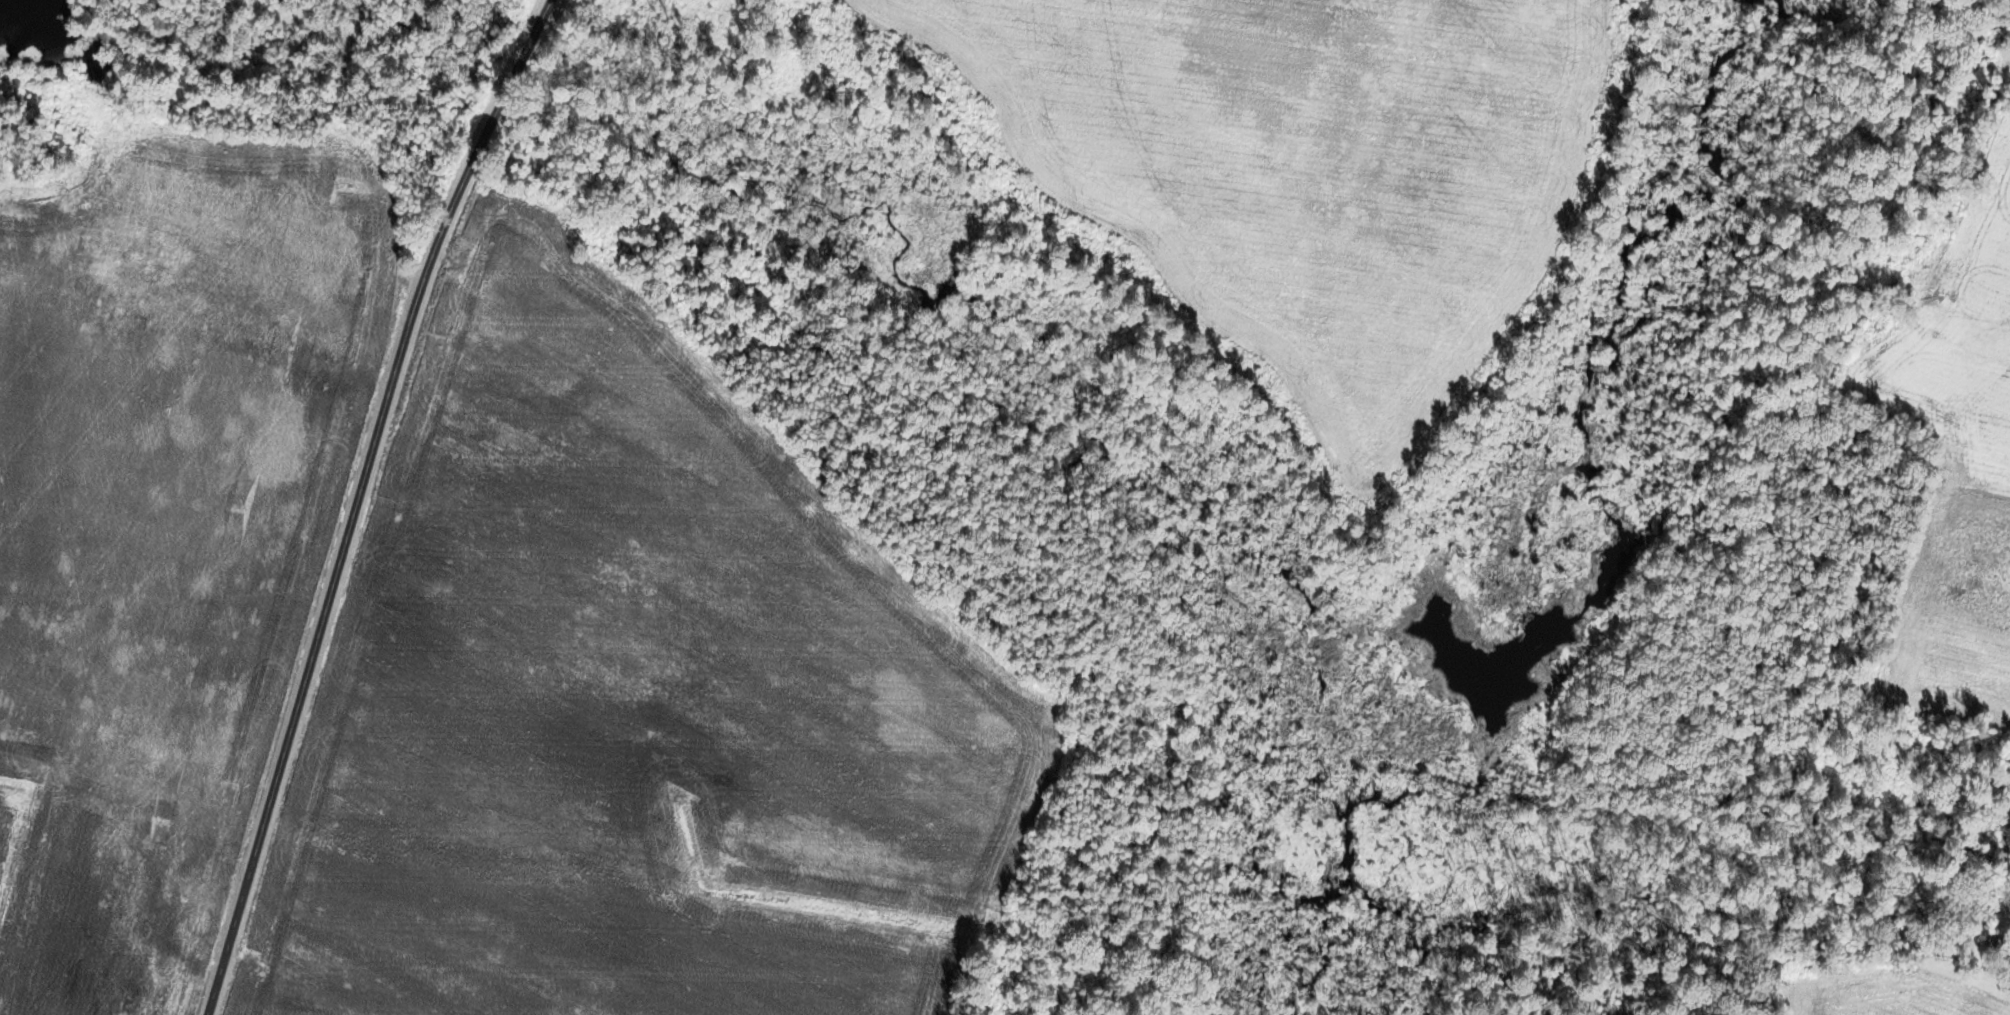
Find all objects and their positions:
road: (356, 499)

